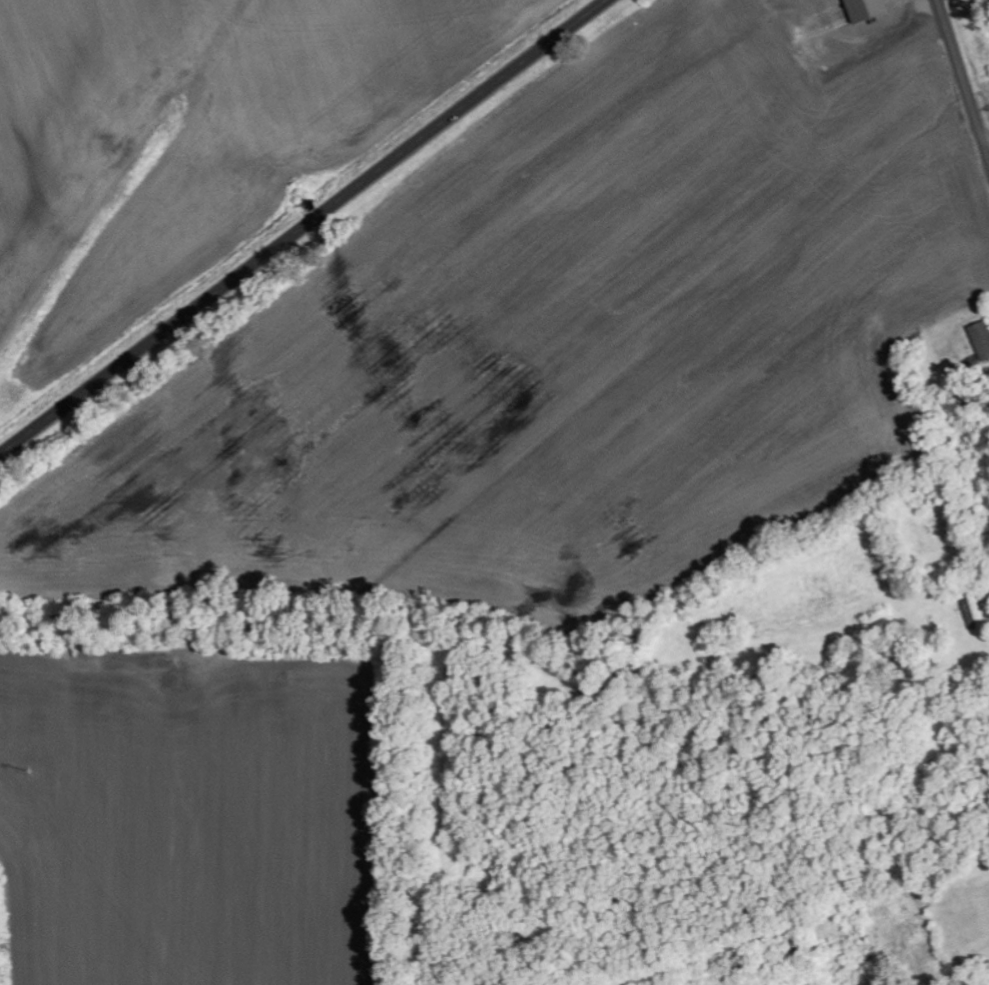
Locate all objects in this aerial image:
building: (865, 9)
road: (962, 79)
road: (302, 227)
building: (981, 339)
building: (974, 613)

